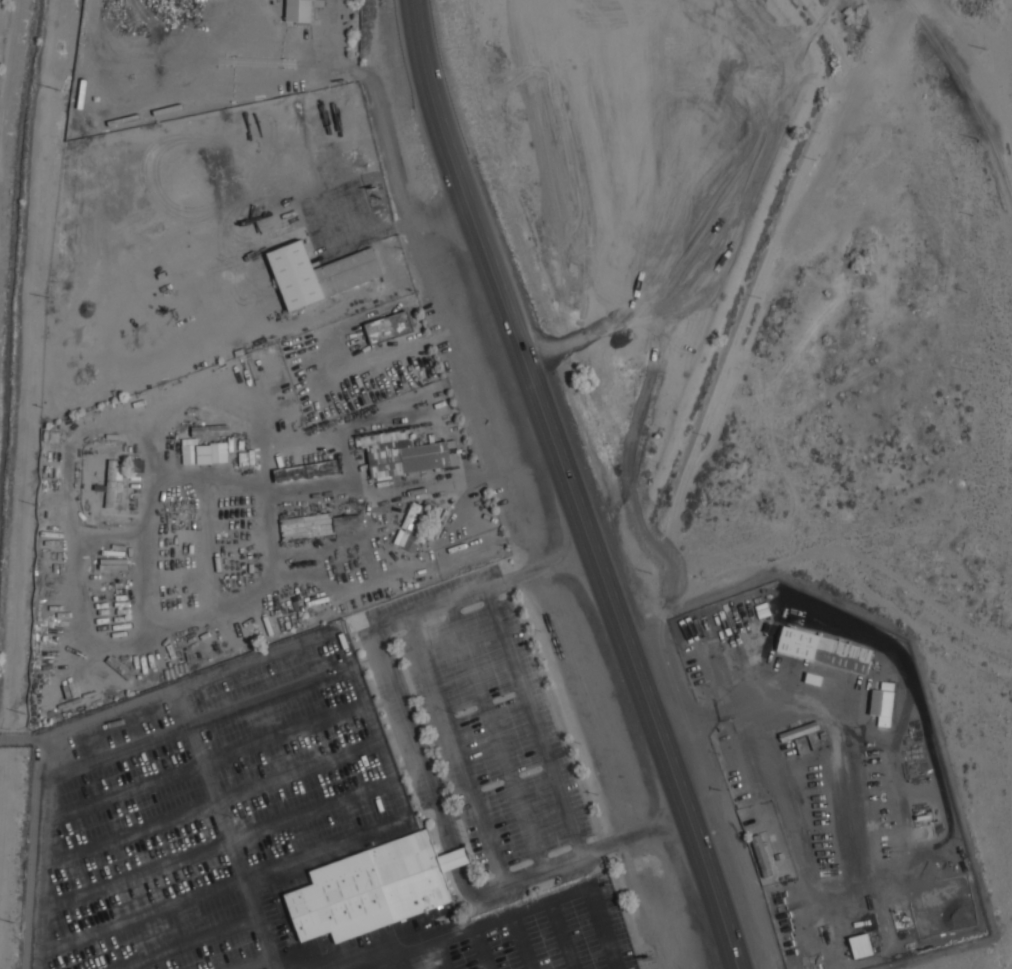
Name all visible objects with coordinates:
building: (299, 10)
railway: (968, 95)
road: (445, 140)
building: (319, 274)
building: (388, 327)
building: (211, 430)
building: (203, 452)
building: (306, 467)
building: (113, 481)
building: (318, 525)
building: (409, 529)
road: (541, 569)
road: (451, 602)
road: (620, 621)
building: (824, 649)
building: (882, 703)
road: (635, 835)
building: (761, 855)
building: (457, 858)
building: (373, 889)
building: (860, 945)

